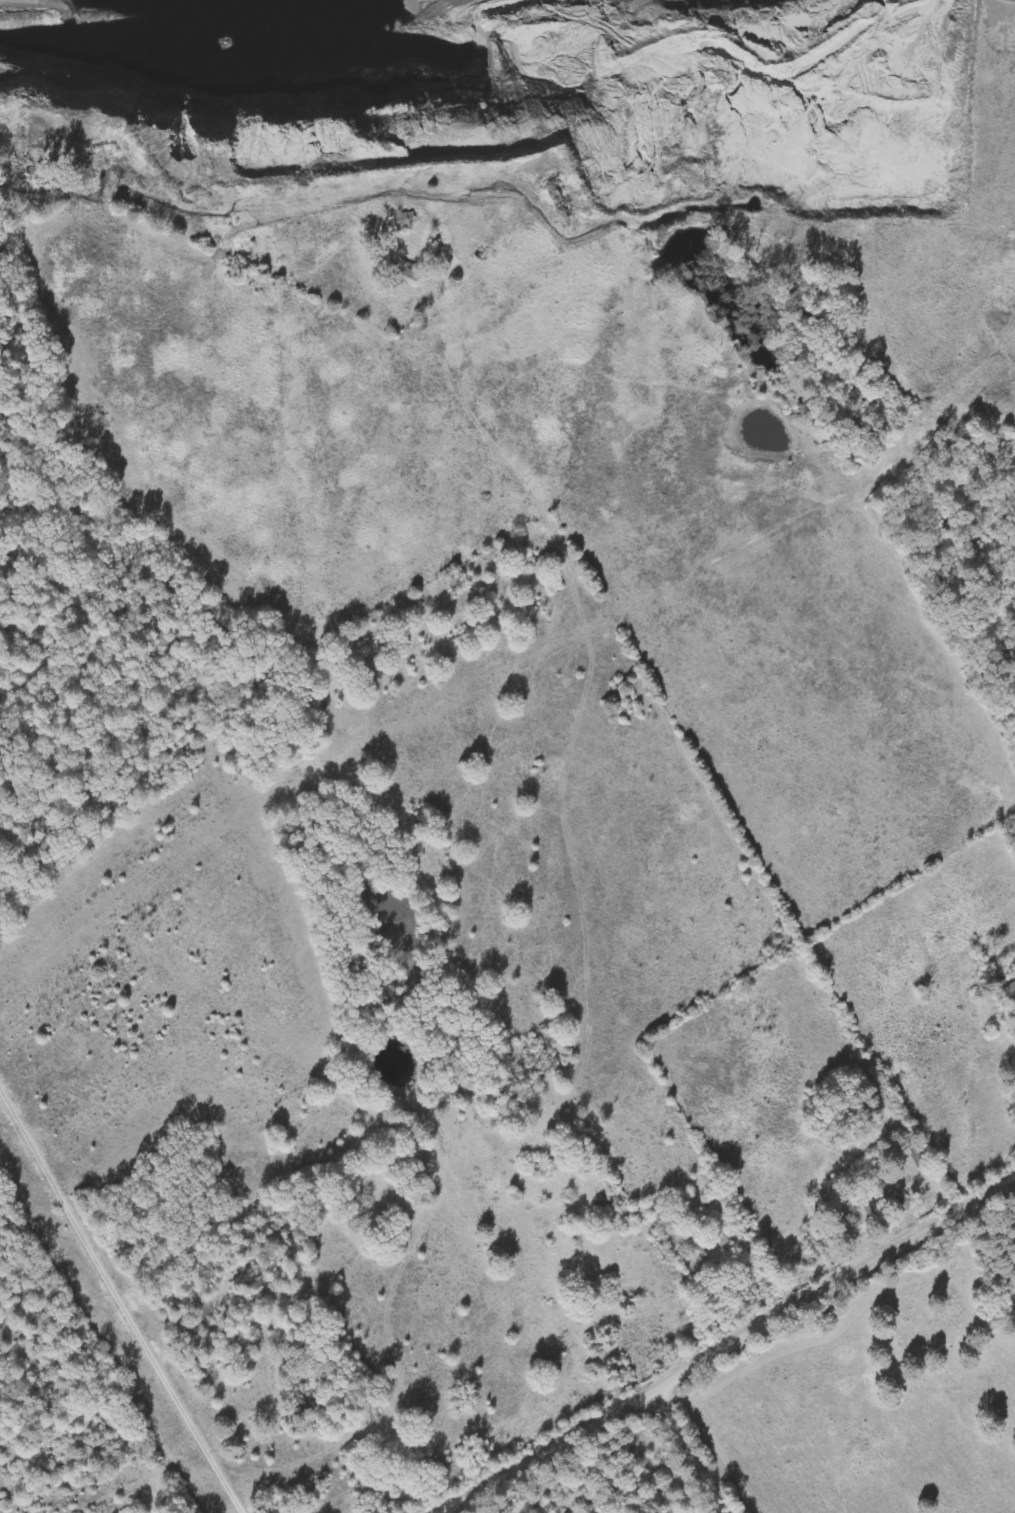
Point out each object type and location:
road: (726, 1350)
road: (694, 1451)

